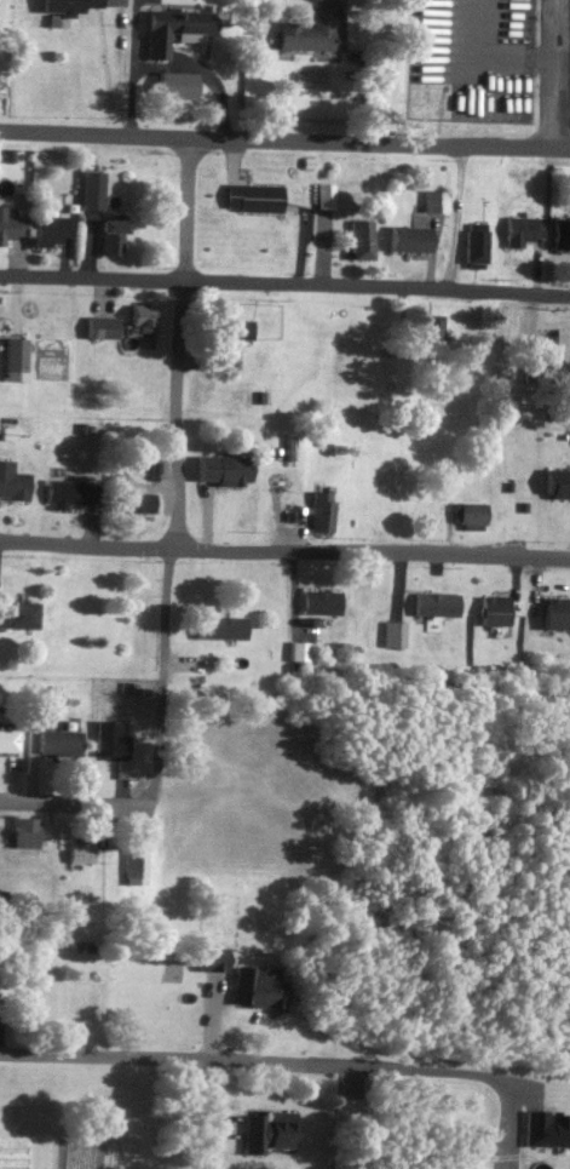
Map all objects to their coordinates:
building: (71, 6)
building: (173, 29)
building: (309, 33)
road: (129, 67)
road: (202, 73)
road: (552, 76)
building: (177, 86)
road: (284, 142)
building: (91, 191)
building: (253, 199)
building: (434, 202)
building: (11, 227)
building: (52, 231)
building: (522, 231)
building: (562, 234)
building: (111, 237)
building: (362, 240)
building: (411, 240)
building: (474, 245)
road: (284, 283)
building: (144, 316)
building: (103, 327)
building: (432, 330)
building: (241, 331)
building: (562, 349)
building: (15, 355)
road: (174, 474)
building: (224, 475)
building: (12, 483)
building: (555, 487)
building: (65, 494)
building: (132, 503)
building: (318, 512)
building: (467, 520)
road: (284, 551)
building: (321, 607)
building: (433, 609)
building: (18, 615)
building: (491, 615)
building: (555, 619)
building: (221, 635)
building: (395, 637)
building: (44, 695)
building: (7, 740)
building: (109, 740)
building: (58, 744)
road: (70, 803)
building: (25, 832)
building: (80, 854)
building: (133, 863)
building: (257, 987)
road: (149, 1059)
road: (444, 1073)
building: (269, 1131)

